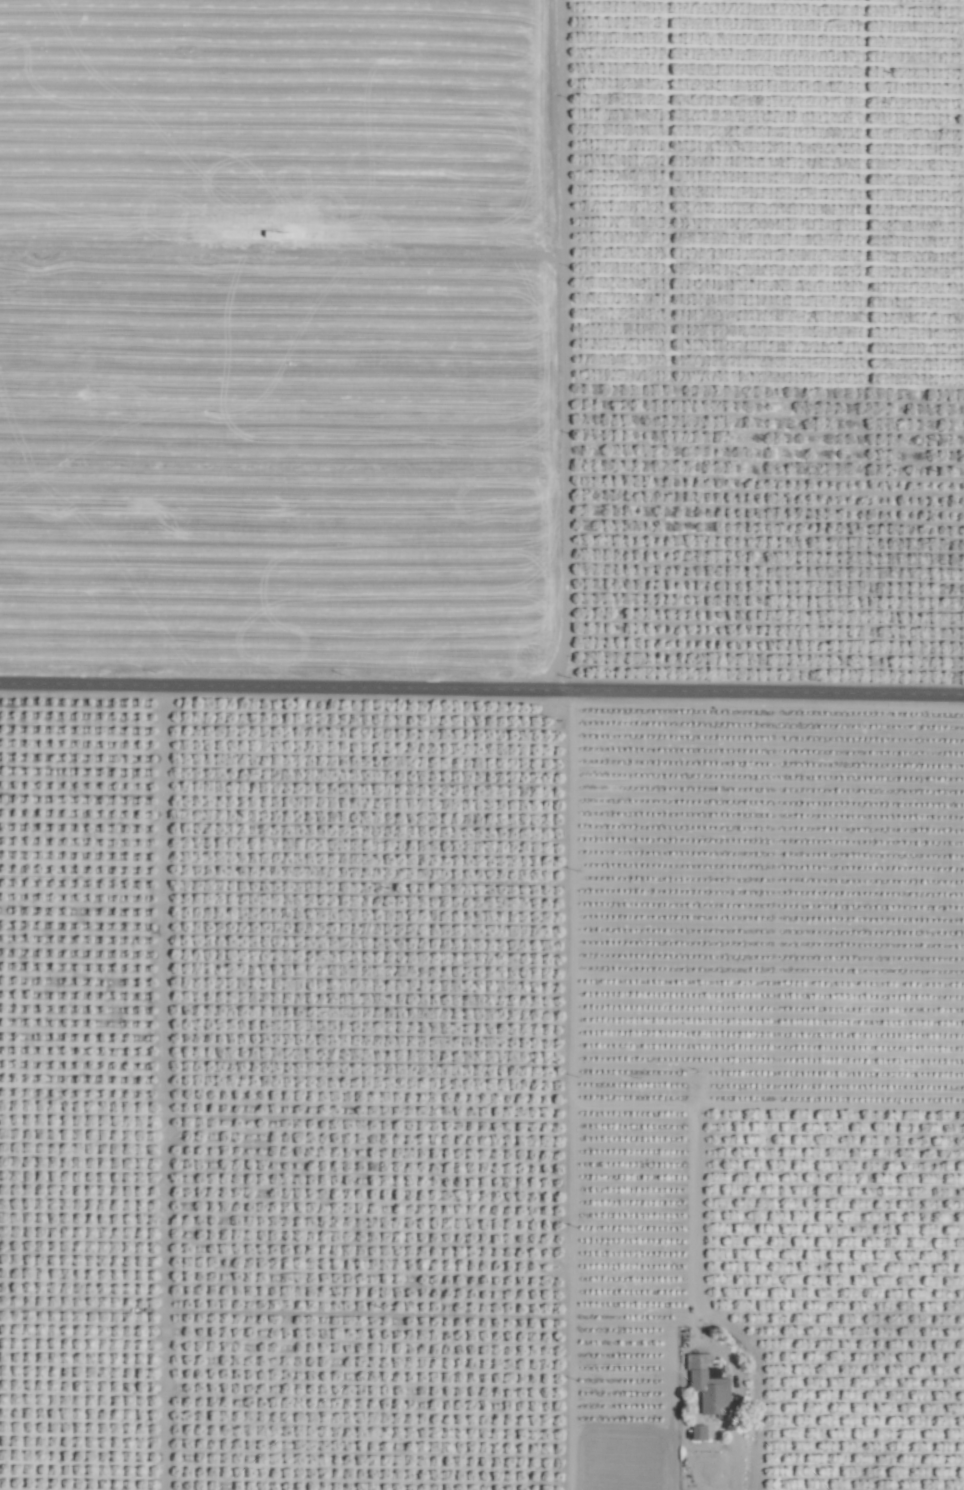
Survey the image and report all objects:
road: (482, 689)
crop: (482, 745)
road: (564, 1090)
road: (677, 1251)
building: (707, 1386)
building: (697, 1432)

